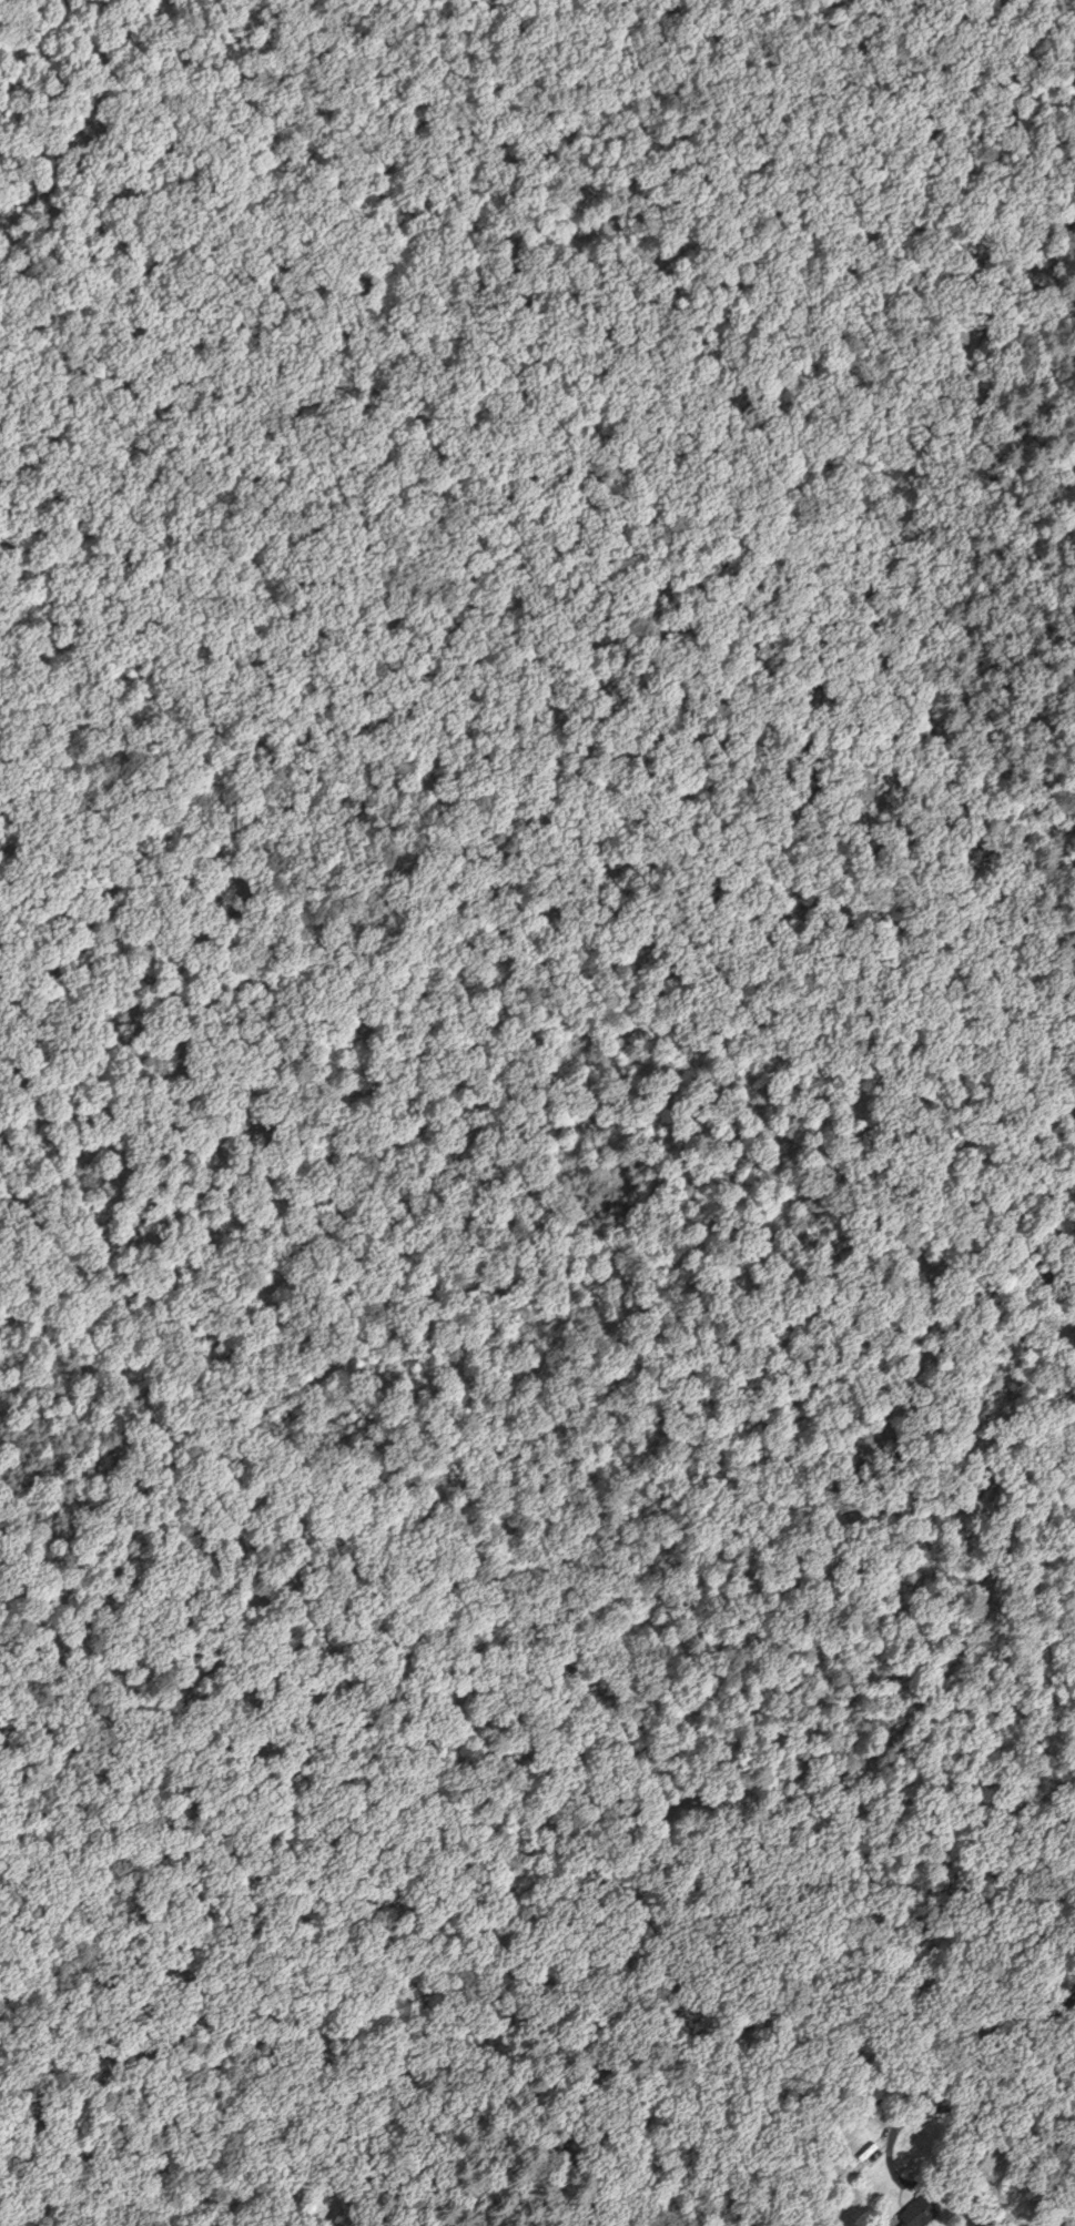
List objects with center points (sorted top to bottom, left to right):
road: (920, 2078)
building: (919, 2214)
building: (346, 2220)

